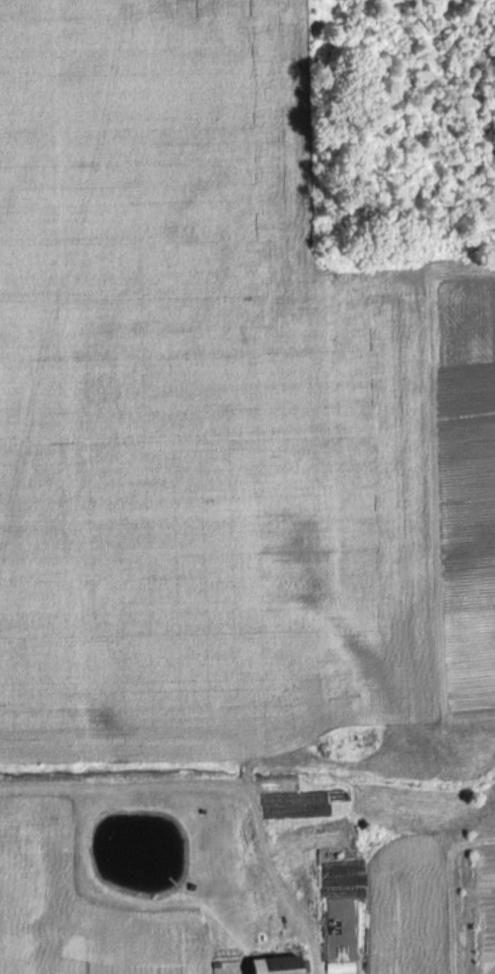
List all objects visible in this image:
crop: (218, 411)
building: (362, 839)
crop: (360, 880)
crop: (77, 907)
crop: (487, 910)
building: (271, 966)

